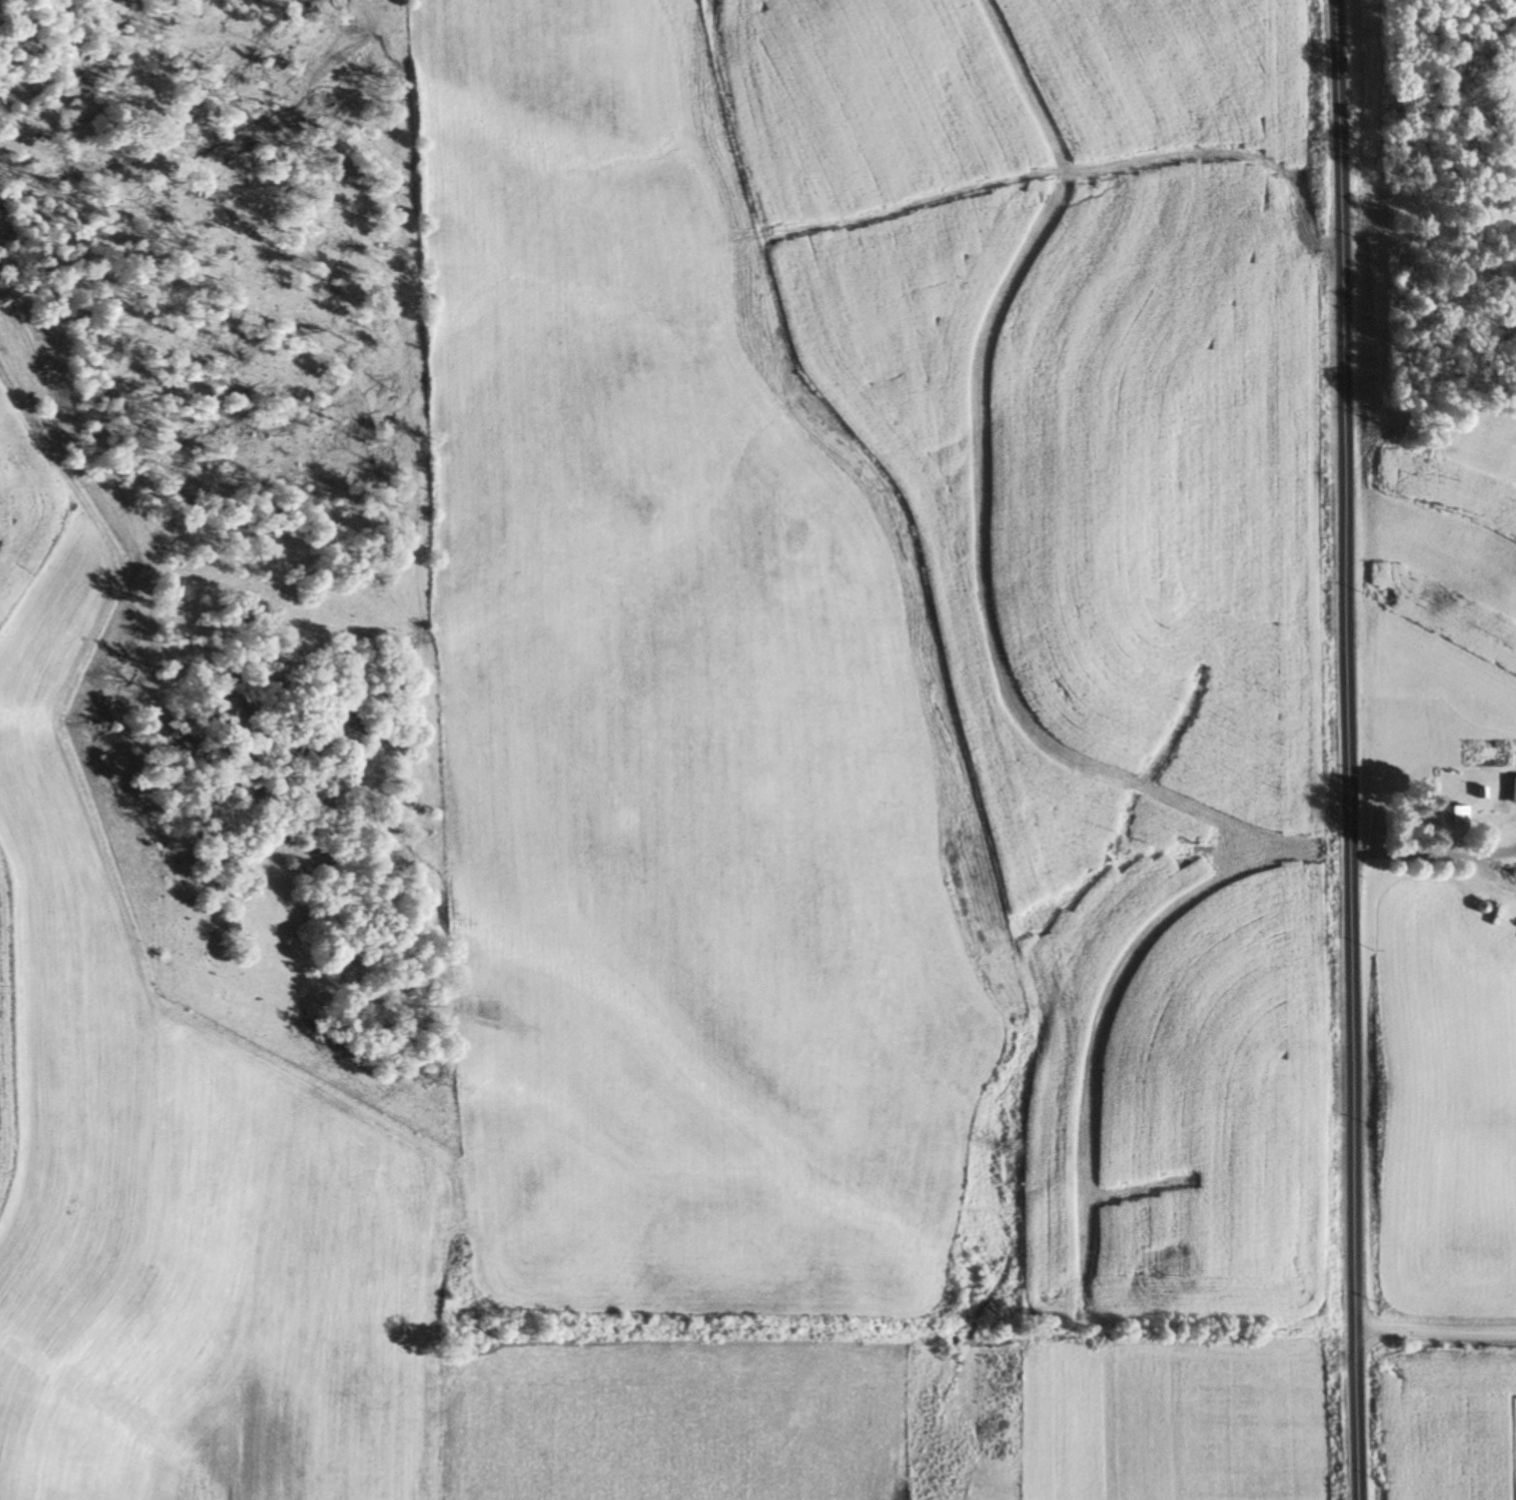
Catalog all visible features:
road: (1344, 750)
building: (1446, 823)
road: (1435, 1333)

